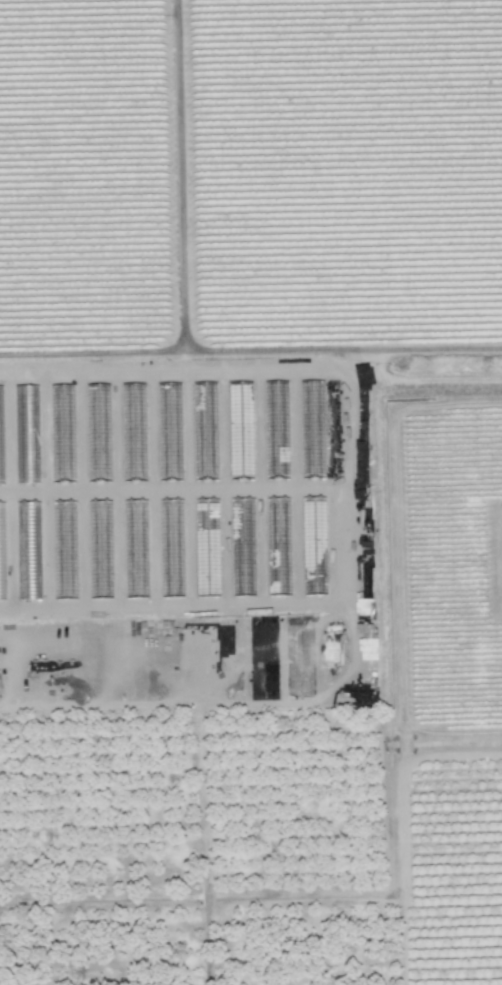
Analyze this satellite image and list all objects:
building: (26, 412)
building: (240, 430)
building: (97, 432)
building: (133, 432)
building: (1, 443)
building: (104, 513)
building: (278, 513)
building: (64, 532)
building: (135, 548)
building: (171, 548)
building: (28, 550)
building: (368, 657)

